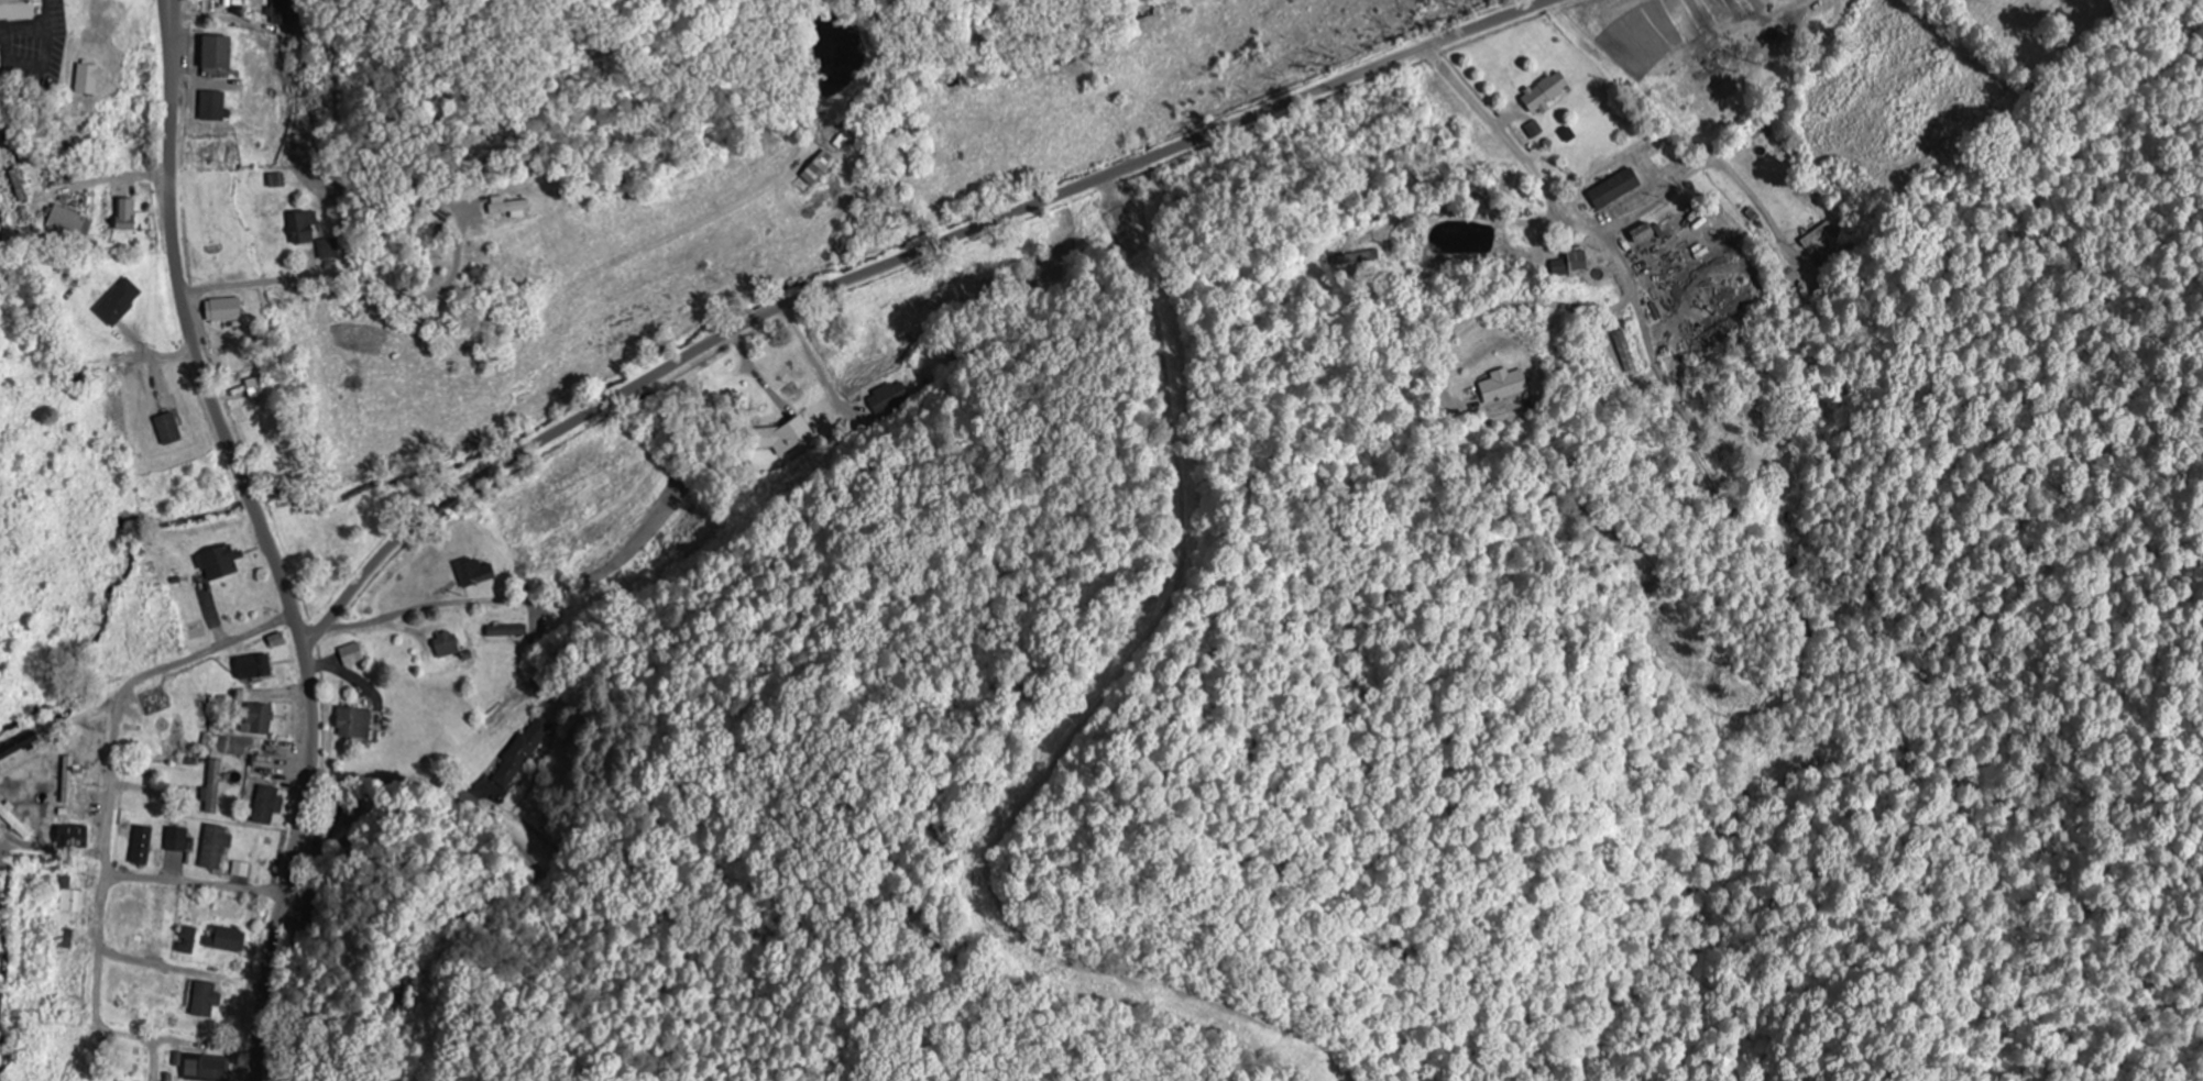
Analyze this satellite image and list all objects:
road: (169, 3)
road: (172, 3)
building: (17, 10)
building: (282, 15)
building: (217, 54)
building: (89, 79)
building: (212, 107)
building: (1535, 130)
building: (819, 168)
building: (19, 186)
road: (1543, 186)
building: (1615, 189)
building: (509, 208)
building: (127, 216)
building: (68, 220)
building: (303, 229)
building: (1643, 234)
building: (329, 250)
road: (889, 264)
road: (340, 265)
building: (1571, 265)
building: (119, 304)
building: (223, 311)
building: (1626, 354)
building: (1503, 386)
building: (256, 388)
building: (890, 398)
building: (168, 430)
building: (787, 435)
road: (268, 542)
building: (218, 563)
building: (474, 573)
building: (508, 631)
building: (447, 644)
building: (352, 655)
building: (254, 666)
road: (123, 698)
building: (259, 719)
building: (354, 724)
building: (523, 753)
building: (68, 781)
building: (215, 787)
building: (267, 805)
building: (73, 837)
building: (177, 840)
building: (142, 846)
building: (215, 847)
building: (241, 870)
road: (208, 884)
building: (73, 902)
building: (228, 940)
building: (187, 945)
building: (205, 1000)
building: (208, 1068)

